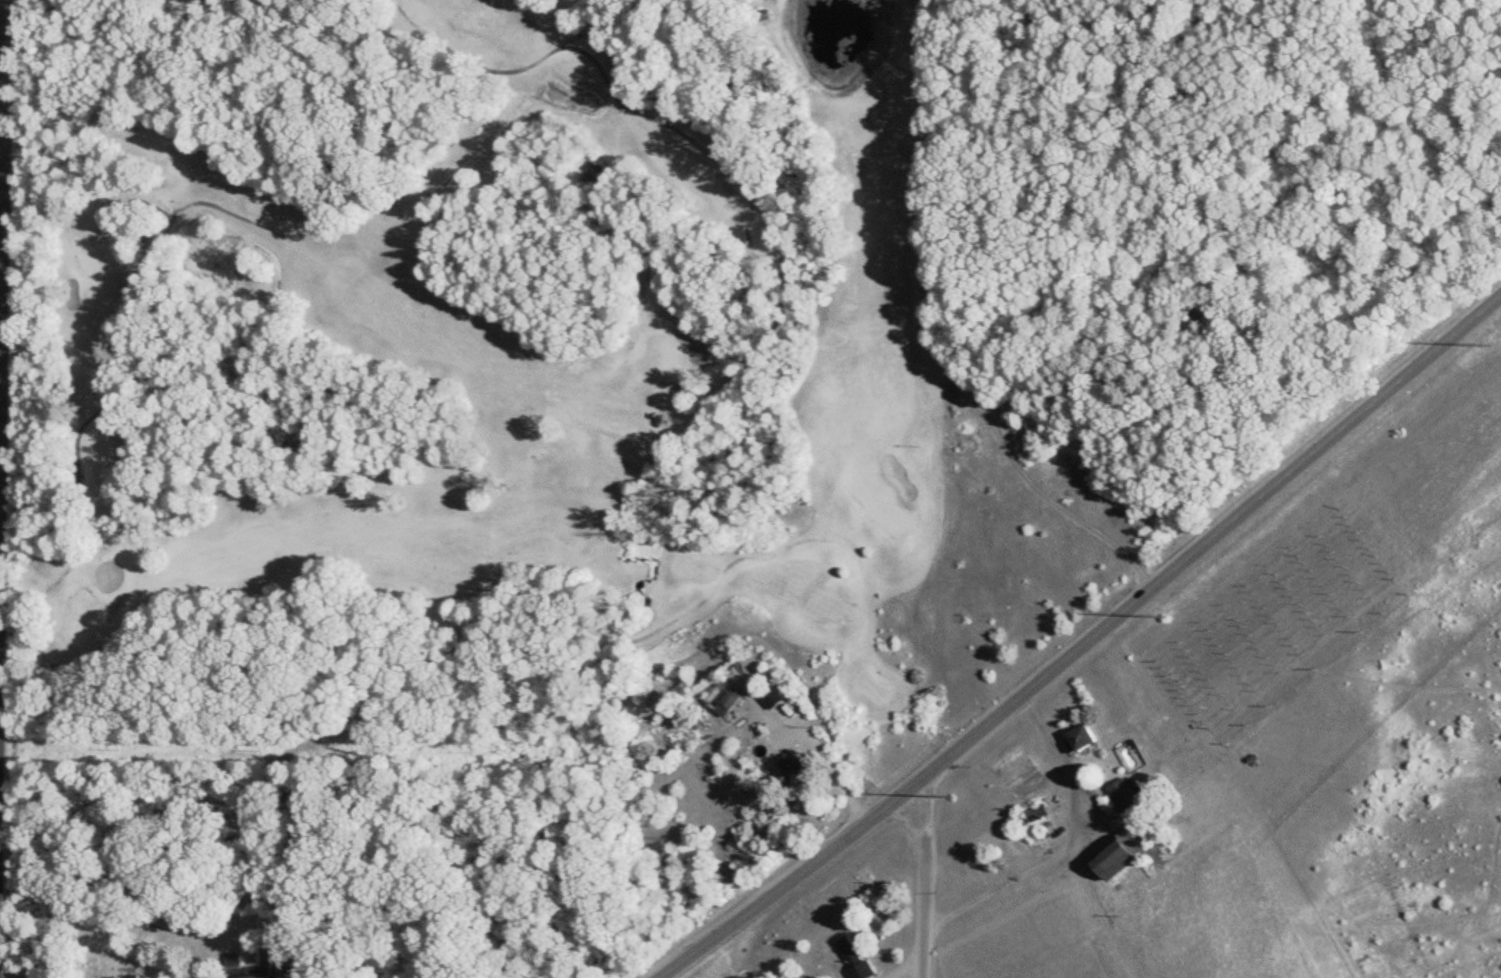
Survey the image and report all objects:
road: (0, 55)
power tower: (1486, 343)
park: (477, 369)
road: (1058, 502)
power tower: (1165, 615)
road: (1086, 637)
building: (768, 698)
building: (1077, 739)
road: (826, 758)
building: (789, 769)
building: (1123, 794)
road: (1076, 837)
building: (1102, 859)
road: (922, 877)
building: (850, 958)

